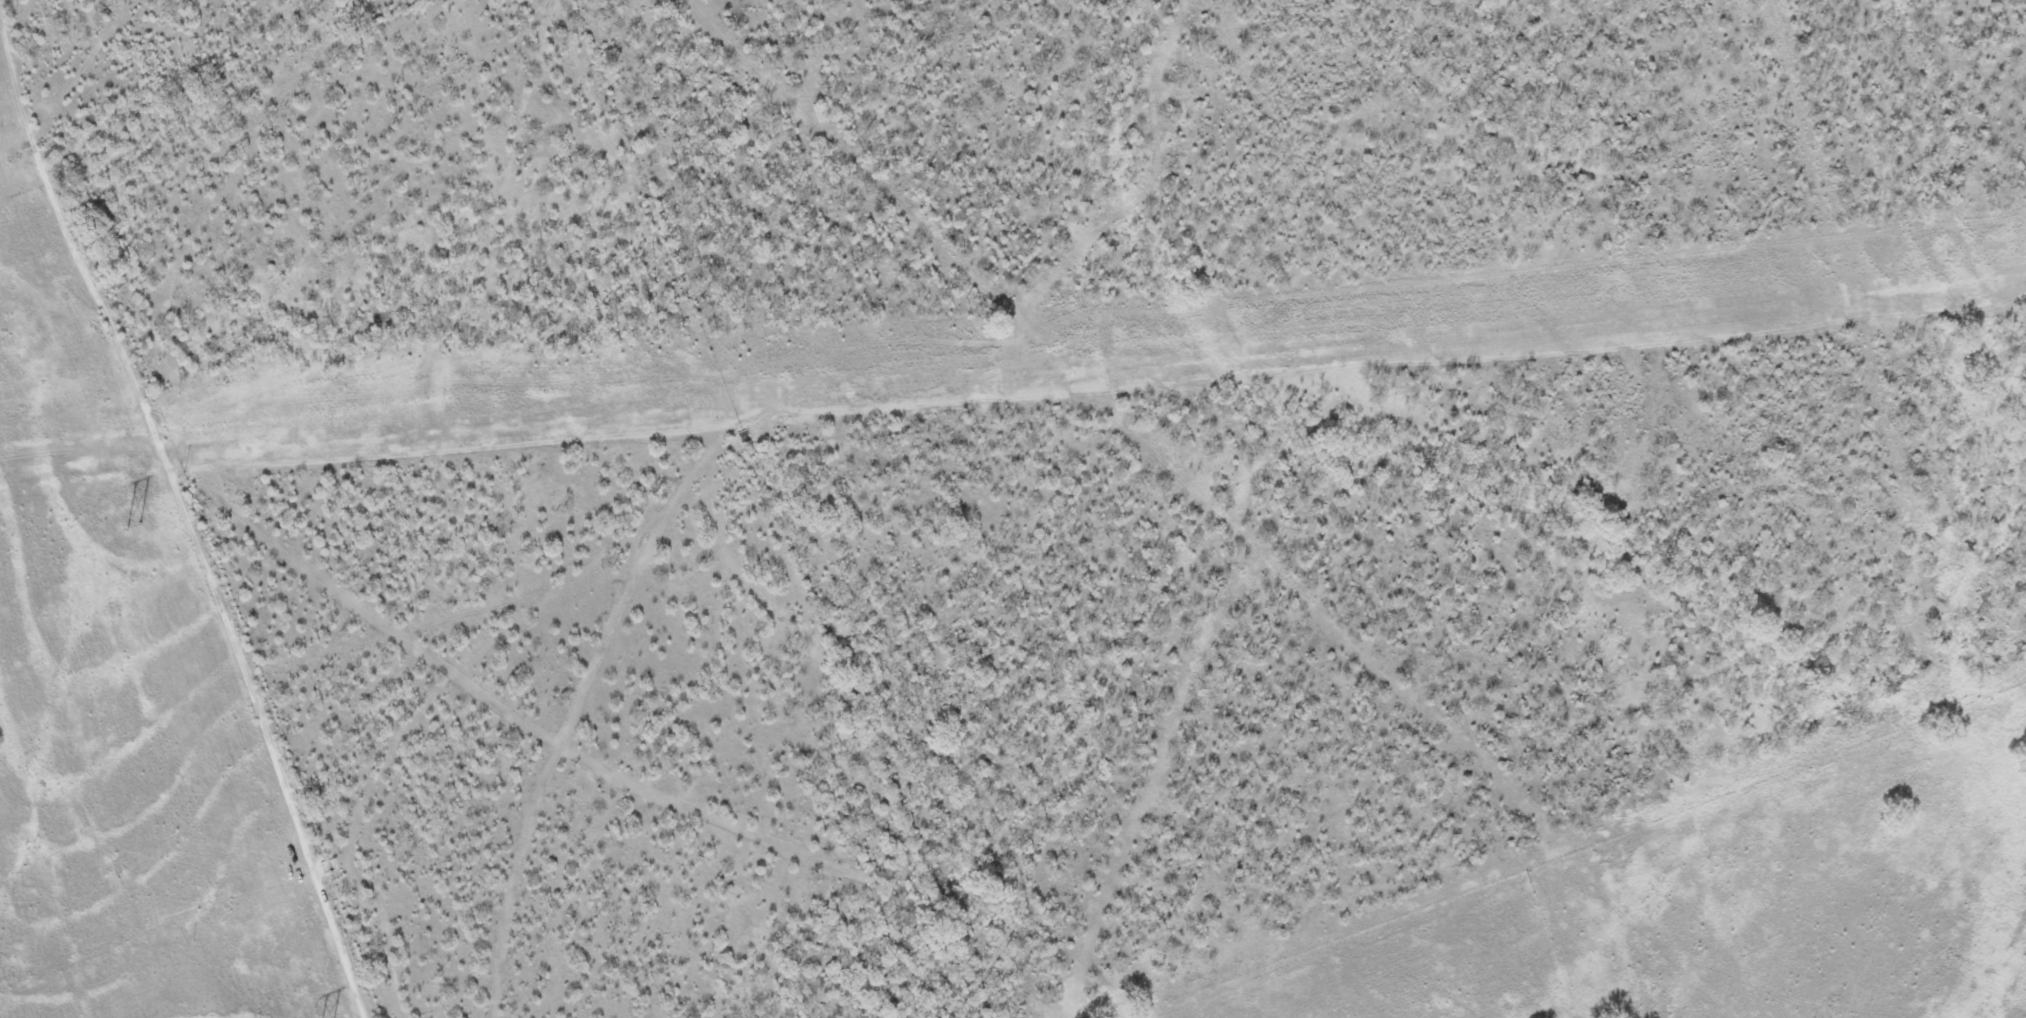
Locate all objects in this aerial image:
road: (172, 512)
power tower: (131, 527)

